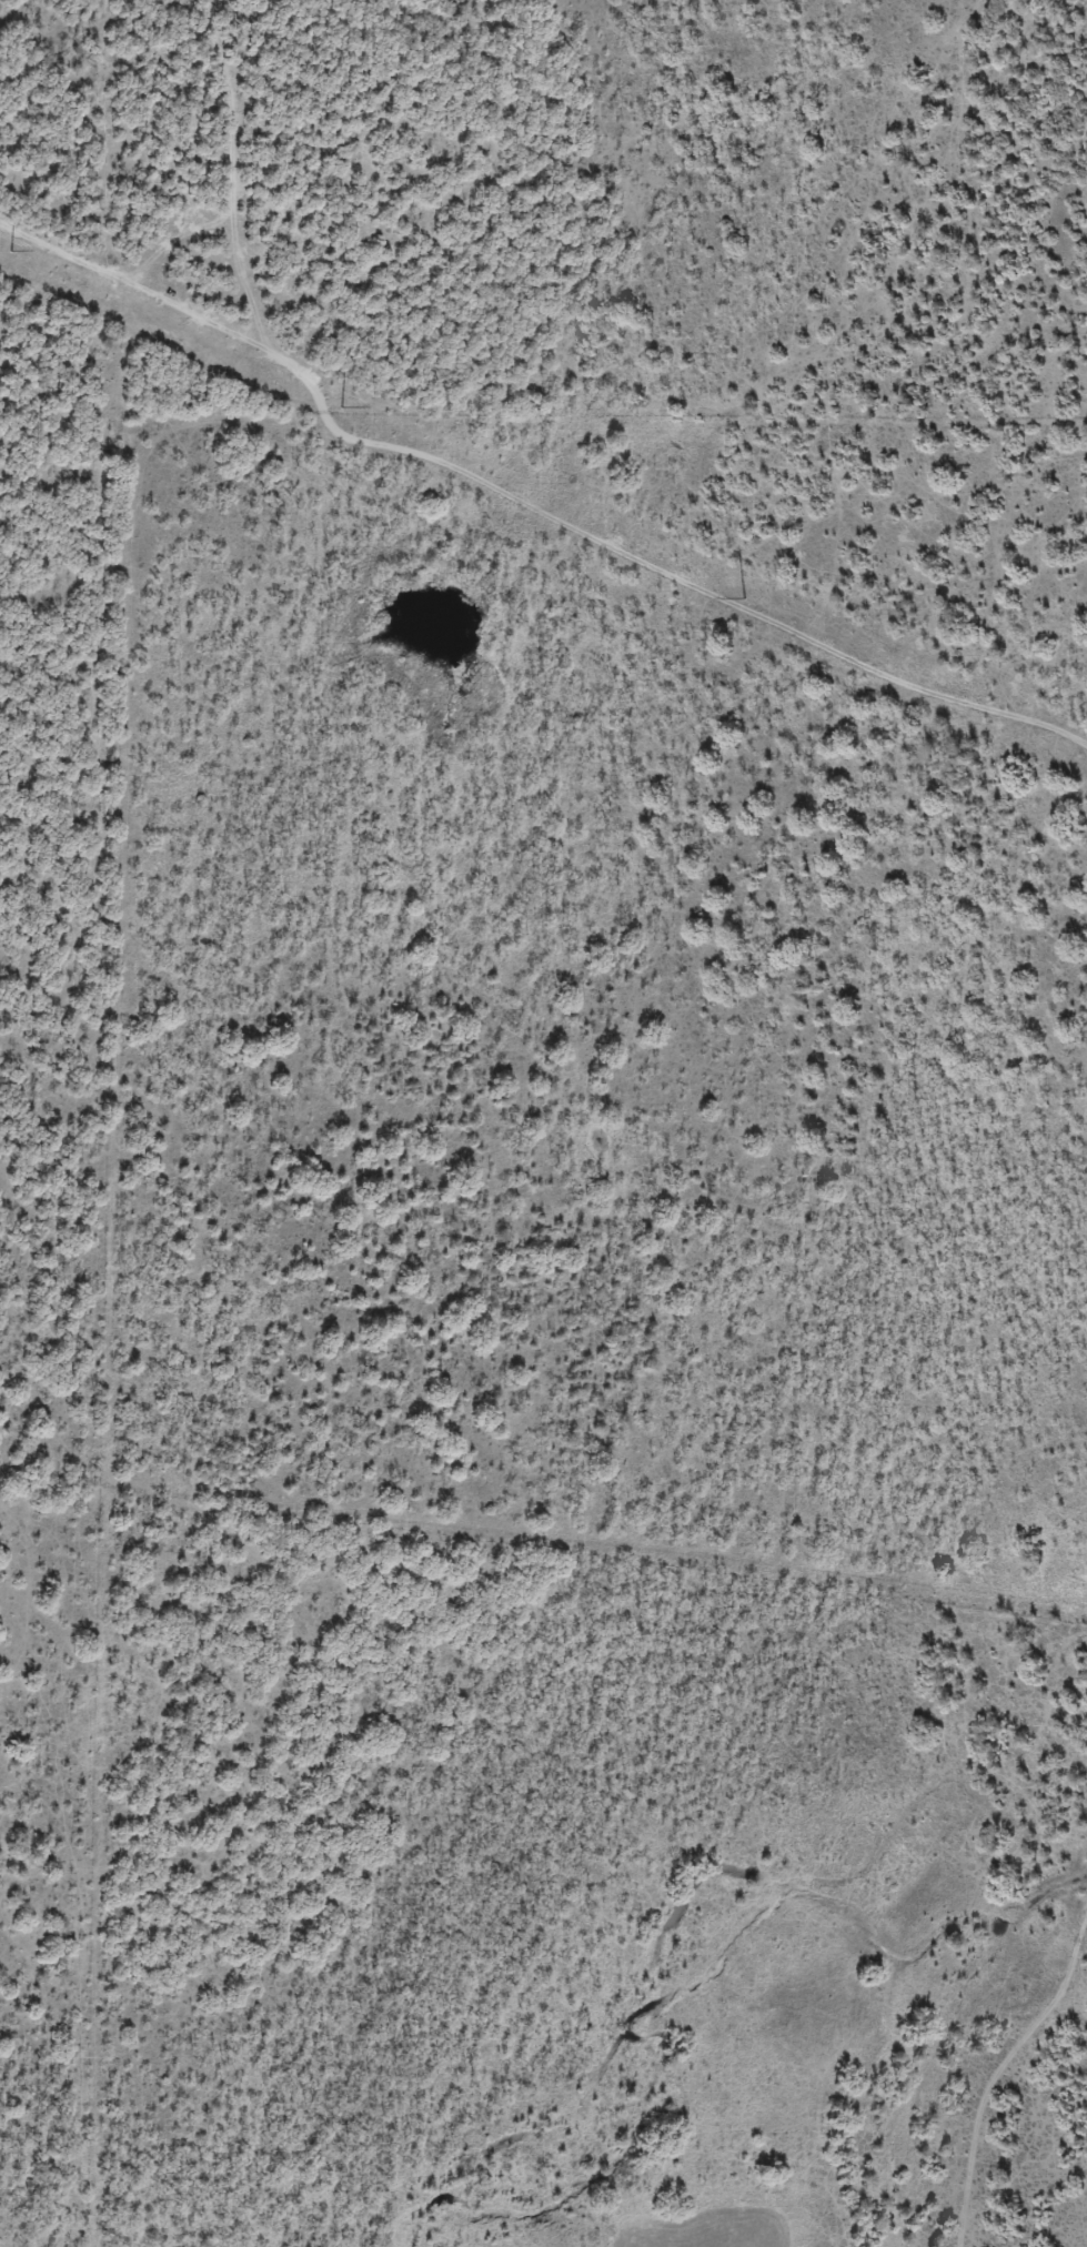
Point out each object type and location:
road: (546, 532)
road: (1015, 2056)

